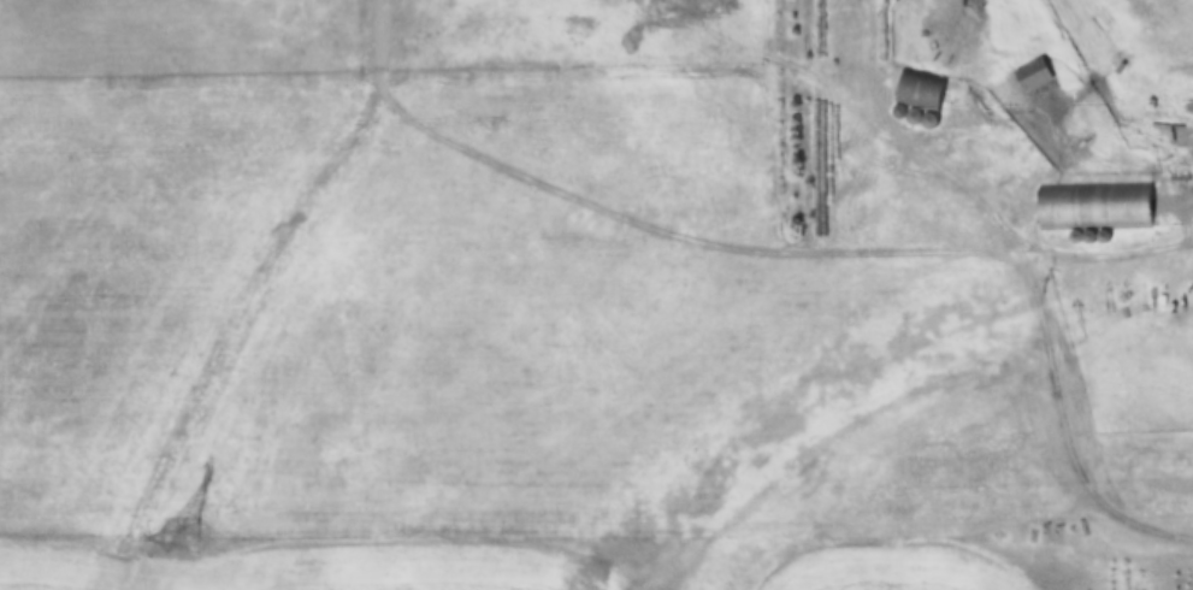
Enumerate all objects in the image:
building: (1035, 76)
building: (922, 92)
building: (1118, 207)
building: (766, 220)
road: (252, 293)
power tower: (187, 538)

